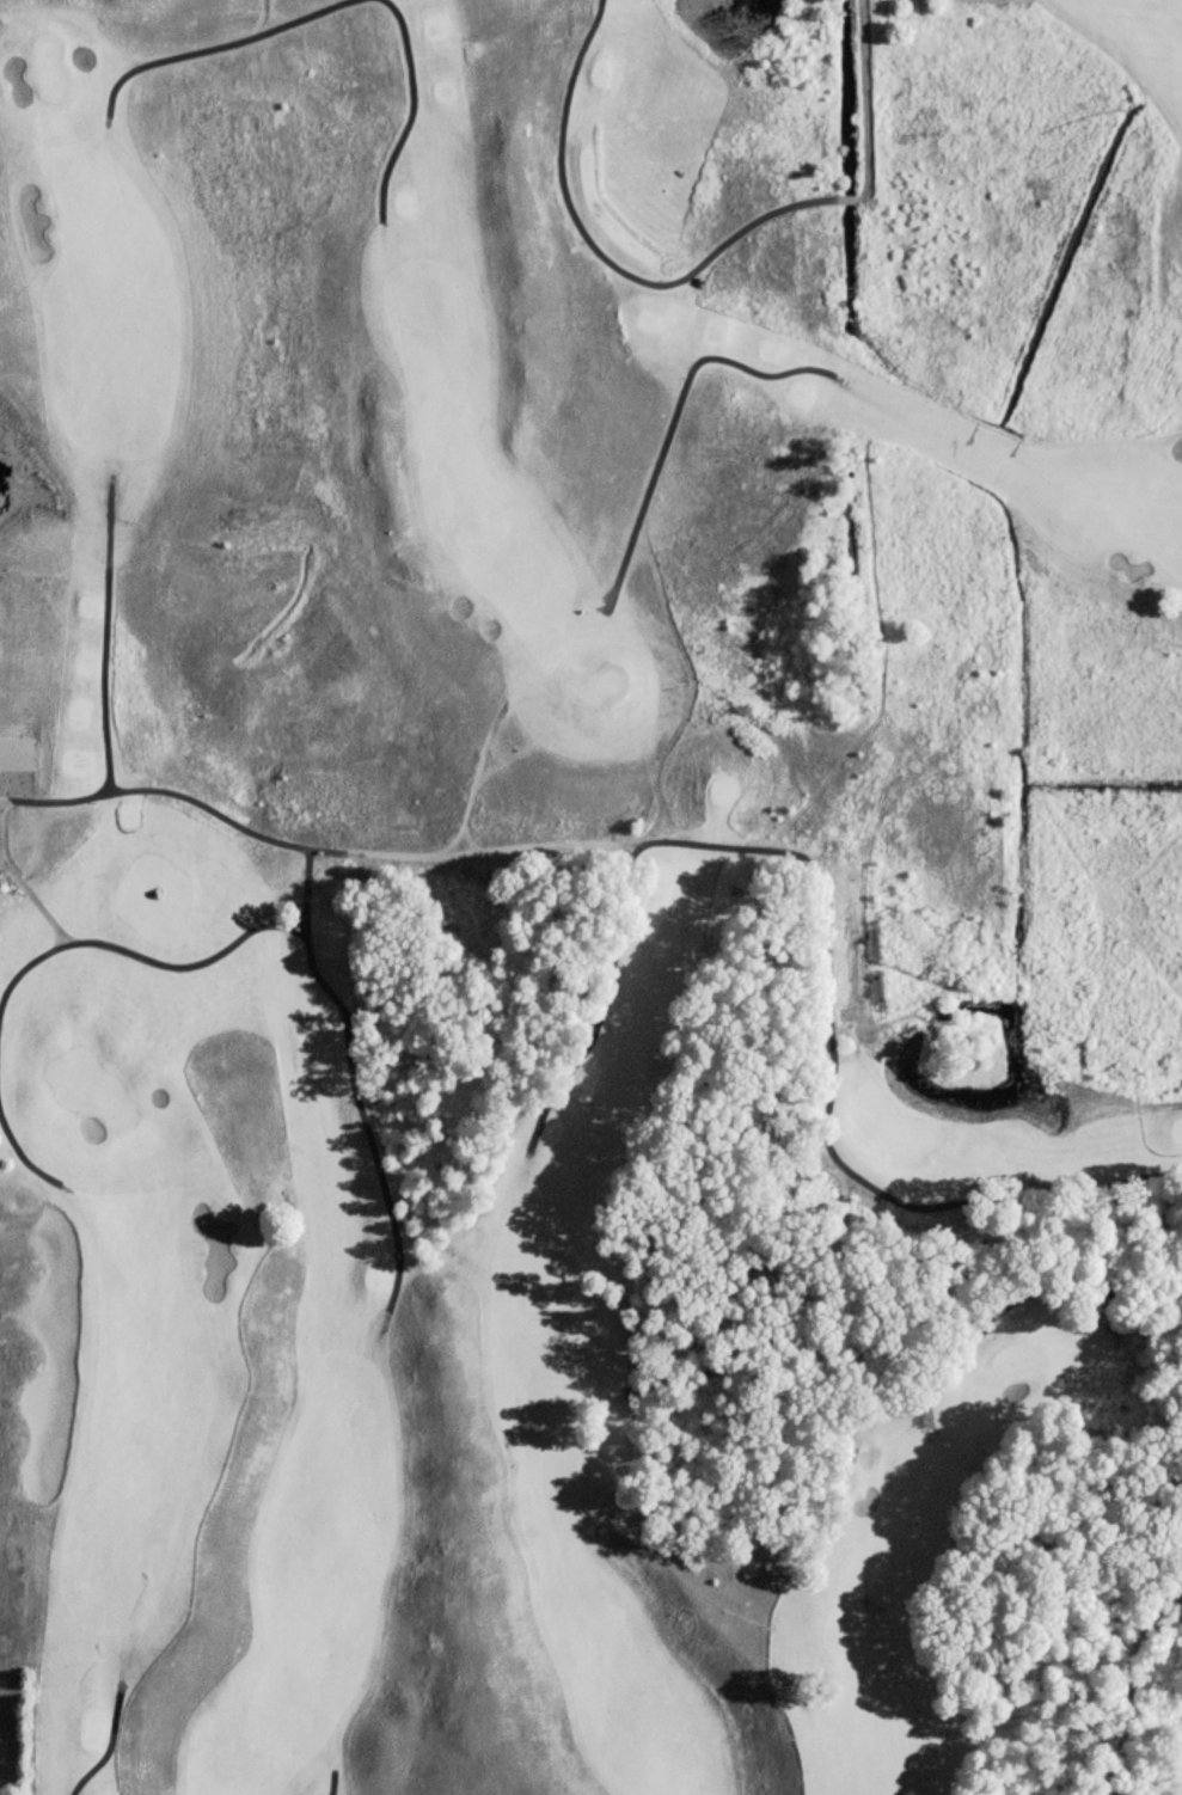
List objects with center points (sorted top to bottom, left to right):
building: (1, 1316)

